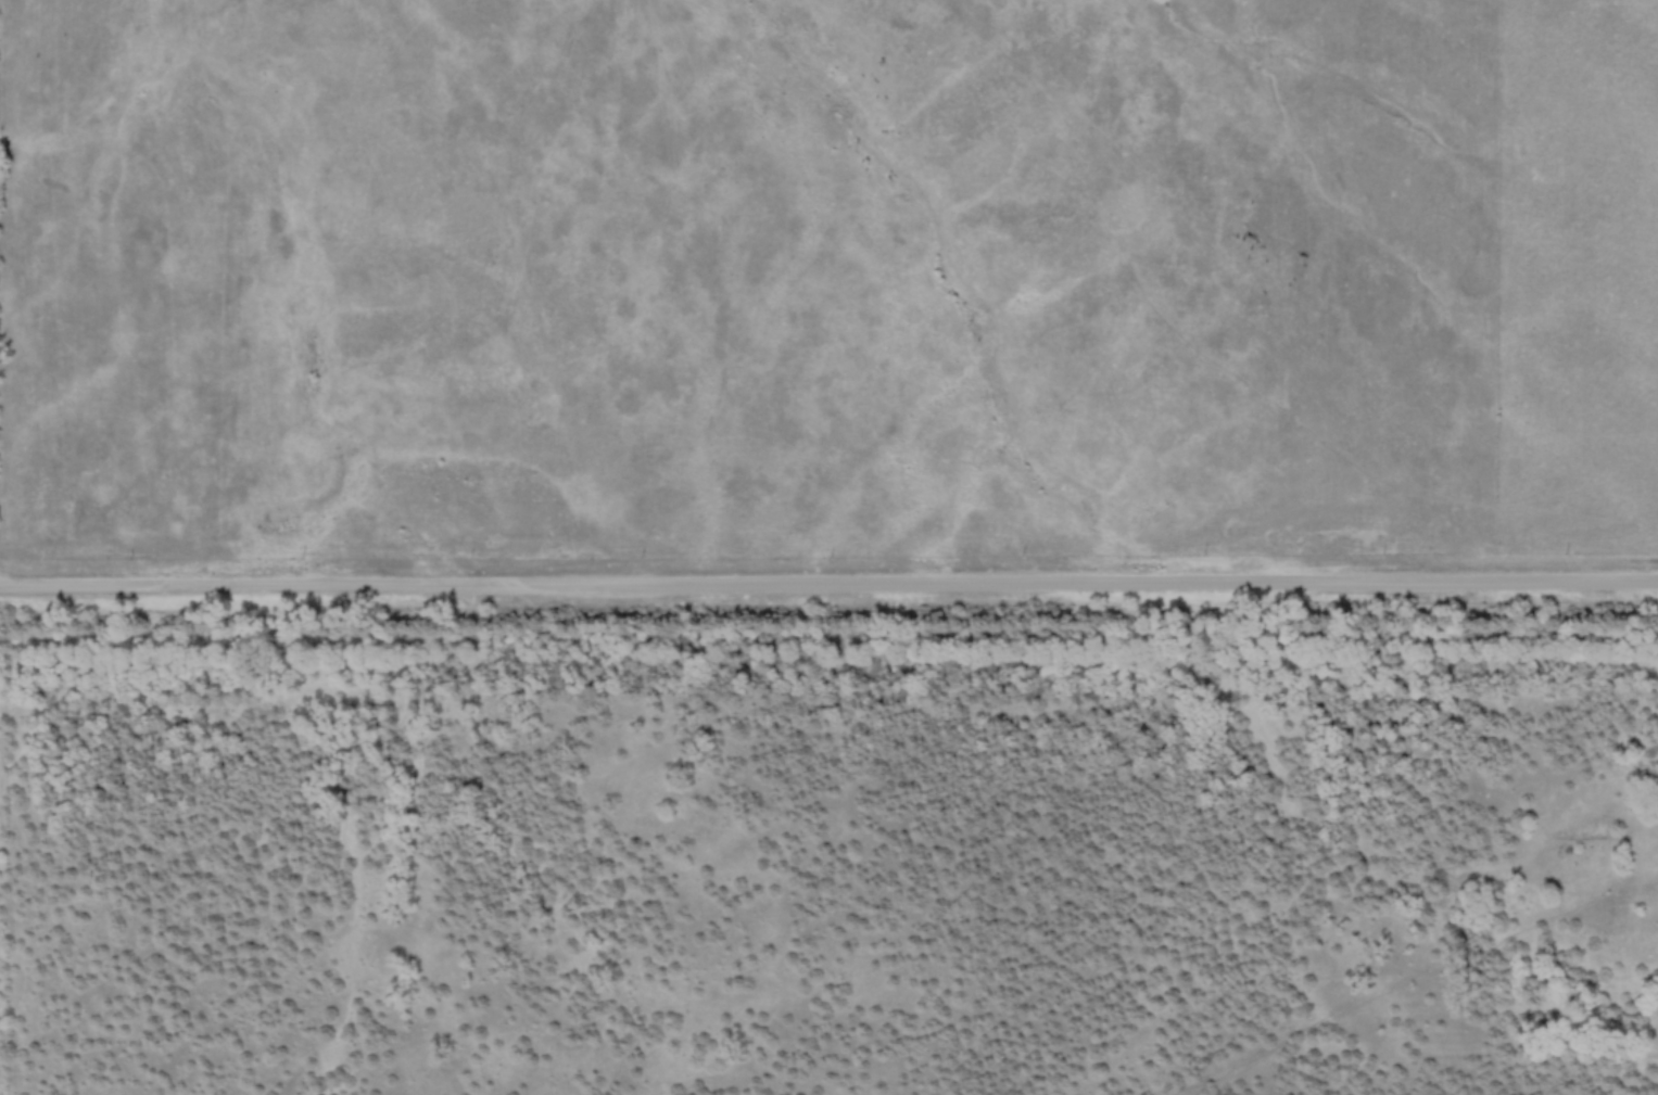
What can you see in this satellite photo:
road: (828, 589)

